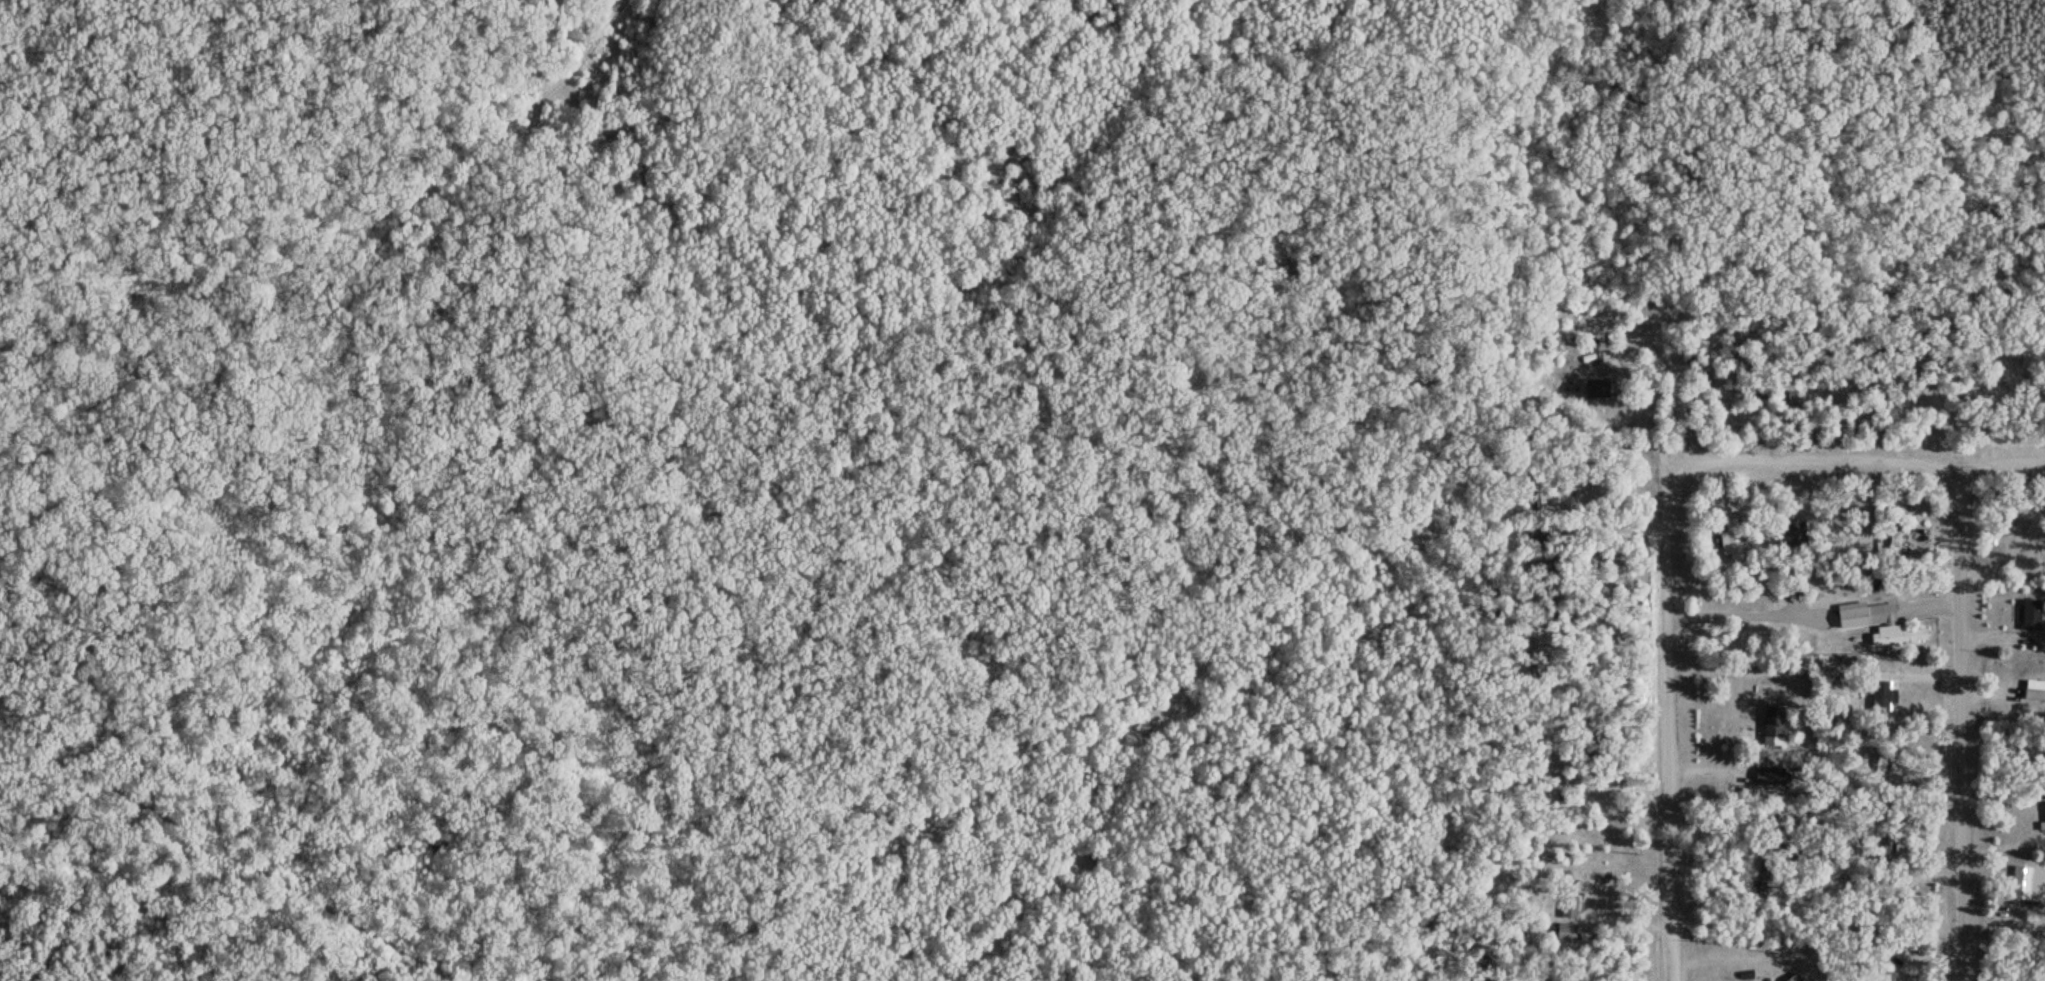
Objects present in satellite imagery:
building: (1934, 311)
building: (2023, 354)
building: (1955, 365)
building: (1700, 395)
road: (1864, 463)
building: (1791, 531)
building: (1731, 538)
building: (1893, 551)
building: (1879, 611)
building: (2030, 612)
building: (1899, 634)
building: (2033, 692)
building: (1880, 695)
road: (1964, 723)
building: (1772, 725)
road: (1675, 728)
building: (1544, 748)
building: (1879, 770)
building: (2042, 825)
building: (2028, 884)
building: (1569, 904)
building: (1872, 909)
building: (1569, 930)
building: (1872, 976)

